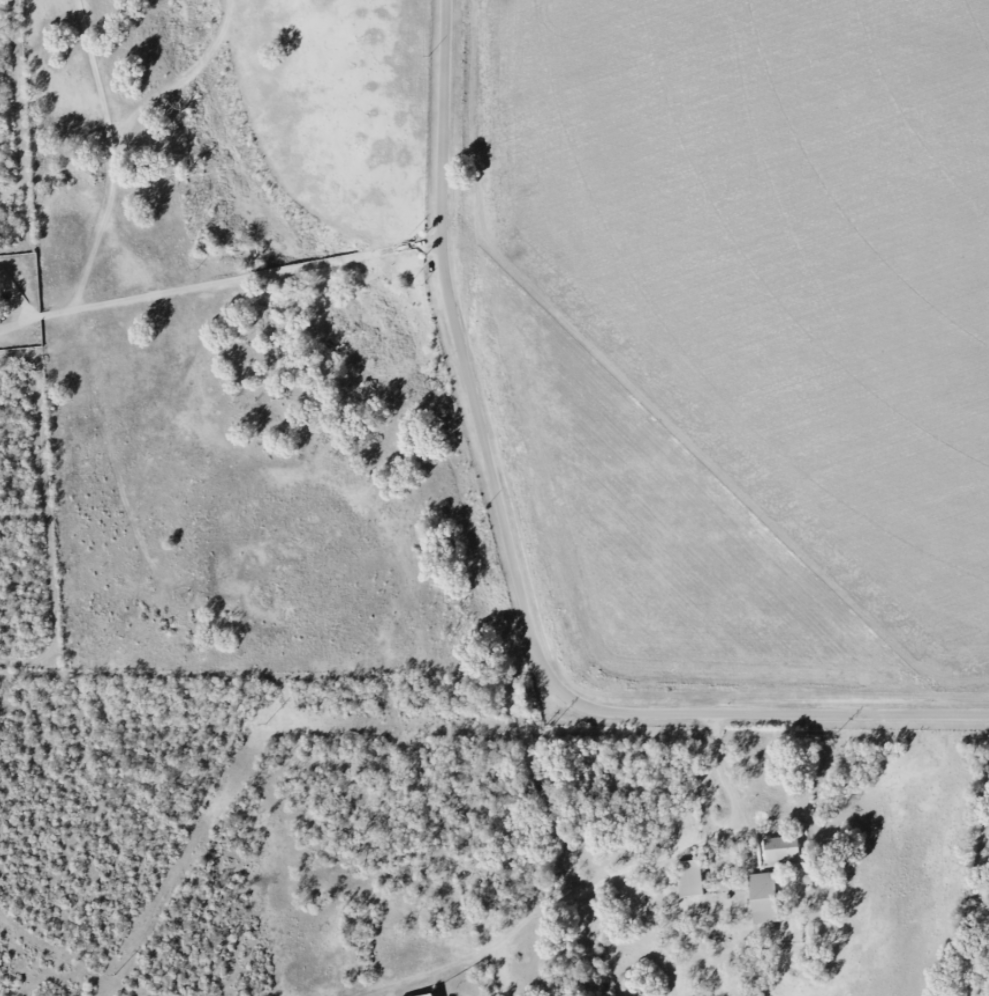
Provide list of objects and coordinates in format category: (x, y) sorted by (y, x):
road: (371, 133)
road: (105, 303)
road: (112, 533)
road: (514, 563)
road: (257, 590)
power tower: (266, 725)
power tower: (549, 727)
power tower: (840, 731)
road: (726, 787)
building: (782, 851)
building: (690, 879)
road: (583, 889)
building: (763, 899)
power tower: (116, 976)
building: (430, 995)

